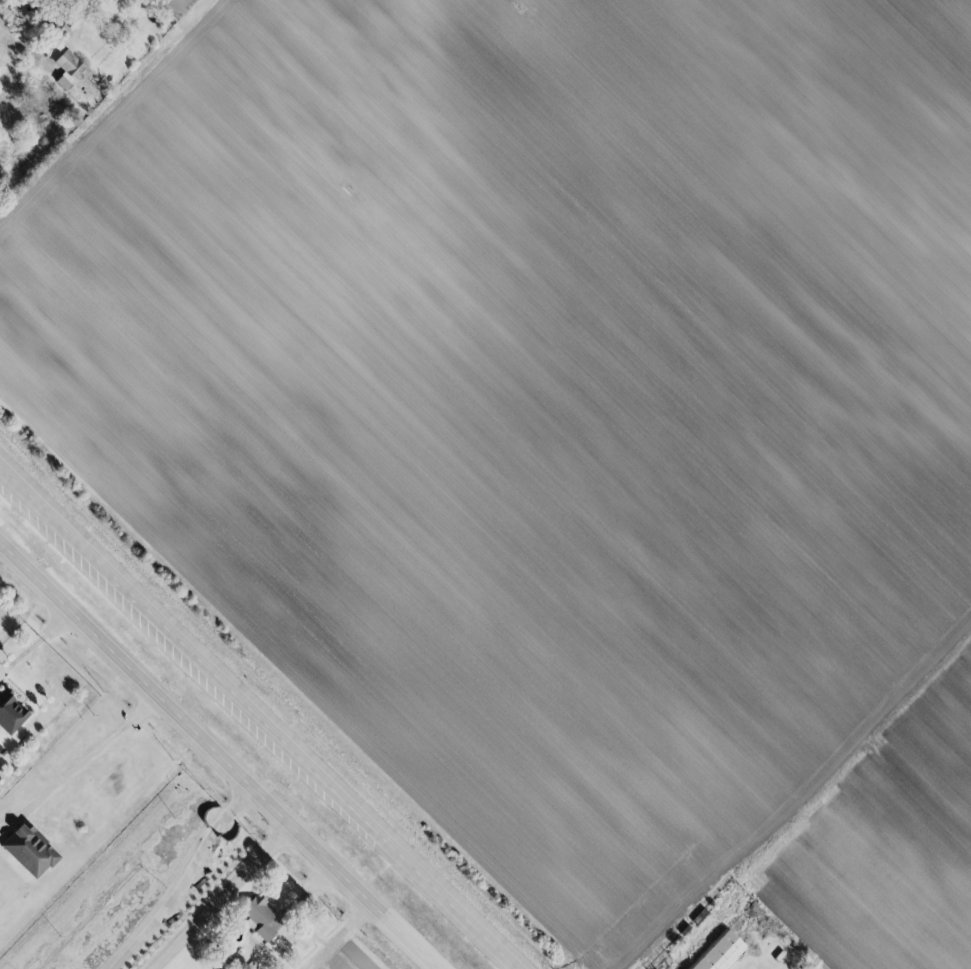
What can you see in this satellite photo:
building: (67, 70)
crop: (556, 427)
road: (34, 646)
building: (9, 714)
road: (258, 715)
road: (218, 758)
road: (89, 761)
building: (30, 849)
road: (184, 880)
road: (227, 900)
building: (257, 917)
road: (337, 935)
building: (719, 953)

